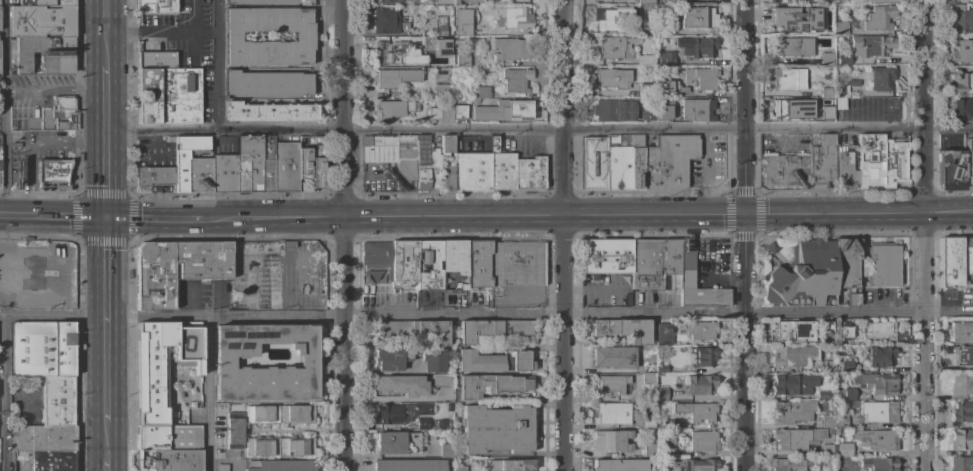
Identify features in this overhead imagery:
building: (389, 1)
building: (470, 1)
building: (827, 1)
building: (880, 1)
building: (269, 2)
building: (443, 2)
building: (645, 2)
building: (670, 2)
building: (45, 3)
building: (155, 7)
building: (958, 7)
building: (613, 17)
building: (514, 18)
building: (697, 18)
building: (879, 18)
building: (795, 19)
building: (386, 20)
building: (42, 21)
building: (961, 21)
building: (463, 22)
building: (440, 26)
building: (845, 26)
building: (645, 28)
building: (662, 29)
road: (161, 30)
road: (106, 31)
building: (304, 36)
building: (436, 44)
building: (698, 46)
building: (793, 46)
building: (871, 46)
building: (614, 47)
building: (512, 49)
building: (962, 52)
building: (45, 54)
building: (395, 54)
building: (667, 59)
building: (827, 59)
building: (462, 60)
building: (646, 60)
building: (843, 60)
building: (394, 78)
building: (612, 78)
building: (882, 78)
building: (516, 79)
building: (702, 79)
building: (784, 80)
building: (267, 84)
building: (962, 84)
building: (671, 87)
building: (845, 88)
building: (166, 90)
building: (441, 90)
building: (645, 90)
road: (55, 91)
building: (481, 92)
building: (826, 93)
road: (925, 106)
road: (5, 107)
road: (747, 107)
building: (782, 107)
road: (562, 108)
road: (342, 109)
building: (697, 109)
building: (961, 109)
building: (390, 110)
building: (614, 110)
building: (504, 111)
building: (664, 111)
building: (65, 112)
building: (460, 112)
building: (648, 112)
building: (825, 112)
building: (269, 113)
building: (440, 114)
road: (2, 117)
road: (217, 120)
road: (658, 127)
road: (280, 129)
road: (105, 138)
road: (66, 144)
building: (446, 145)
building: (393, 157)
building: (636, 160)
building: (668, 160)
building: (881, 160)
building: (618, 161)
building: (969, 161)
building: (594, 162)
building: (267, 163)
building: (304, 163)
building: (822, 163)
building: (192, 164)
building: (249, 164)
building: (422, 165)
building: (286, 167)
building: (501, 167)
building: (844, 169)
building: (434, 170)
building: (786, 170)
building: (950, 170)
building: (471, 171)
building: (51, 172)
building: (318, 172)
building: (224, 173)
building: (530, 173)
building: (154, 175)
building: (447, 176)
road: (29, 181)
road: (882, 214)
road: (949, 214)
road: (52, 215)
traffic signals: (105, 215)
road: (794, 215)
road: (157, 216)
road: (702, 216)
traffic signals: (749, 216)
road: (609, 217)
road: (276, 218)
road: (453, 218)
building: (770, 247)
building: (967, 256)
building: (377, 257)
building: (606, 257)
building: (687, 259)
building: (404, 261)
building: (950, 262)
building: (478, 264)
building: (517, 264)
building: (655, 264)
building: (428, 265)
building: (453, 265)
building: (883, 265)
building: (847, 268)
building: (204, 271)
building: (34, 272)
building: (802, 276)
road: (595, 287)
road: (528, 296)
building: (704, 297)
building: (275, 300)
road: (655, 312)
road: (836, 312)
road: (949, 312)
road: (454, 314)
road: (277, 317)
road: (104, 318)
road: (107, 325)
building: (824, 328)
building: (413, 330)
building: (491, 330)
building: (623, 330)
building: (700, 330)
building: (793, 331)
building: (879, 331)
building: (962, 331)
building: (663, 333)
building: (844, 333)
road: (925, 342)
road: (564, 343)
road: (746, 343)
road: (344, 345)
building: (42, 349)
building: (962, 355)
building: (792, 356)
building: (880, 356)
building: (614, 357)
building: (703, 357)
building: (391, 359)
building: (432, 359)
building: (494, 361)
building: (160, 362)
building: (224, 364)
building: (845, 364)
building: (648, 366)
building: (828, 366)
building: (661, 368)
building: (648, 378)
building: (442, 380)
building: (880, 383)
building: (962, 383)
building: (701, 384)
building: (793, 384)
building: (402, 385)
building: (492, 385)
building: (610, 385)
building: (846, 392)
road: (5, 393)
road: (209, 394)
building: (661, 394)
building: (821, 395)
road: (396, 399)
building: (57, 401)
building: (792, 411)
building: (697, 412)
building: (878, 412)
building: (962, 412)
building: (399, 413)
building: (611, 413)
building: (261, 414)
building: (296, 414)
building: (841, 414)
building: (647, 421)
building: (827, 421)
building: (433, 423)
building: (670, 424)
building: (497, 429)
building: (234, 430)
building: (830, 431)
building: (169, 437)
building: (45, 438)
building: (797, 438)
building: (876, 439)
building: (961, 439)
building: (611, 441)
building: (703, 441)
building: (396, 442)
building: (667, 444)
building: (262, 446)
building: (296, 446)
building: (648, 449)
building: (845, 449)
building: (446, 450)
building: (827, 450)
road: (107, 454)
building: (50, 460)
building: (166, 460)
building: (450, 463)
building: (789, 464)
building: (879, 464)
building: (961, 464)
building: (280, 465)
building: (409, 465)
building: (510, 465)
building: (619, 465)
building: (700, 465)
building: (221, 467)
building: (460, 468)

